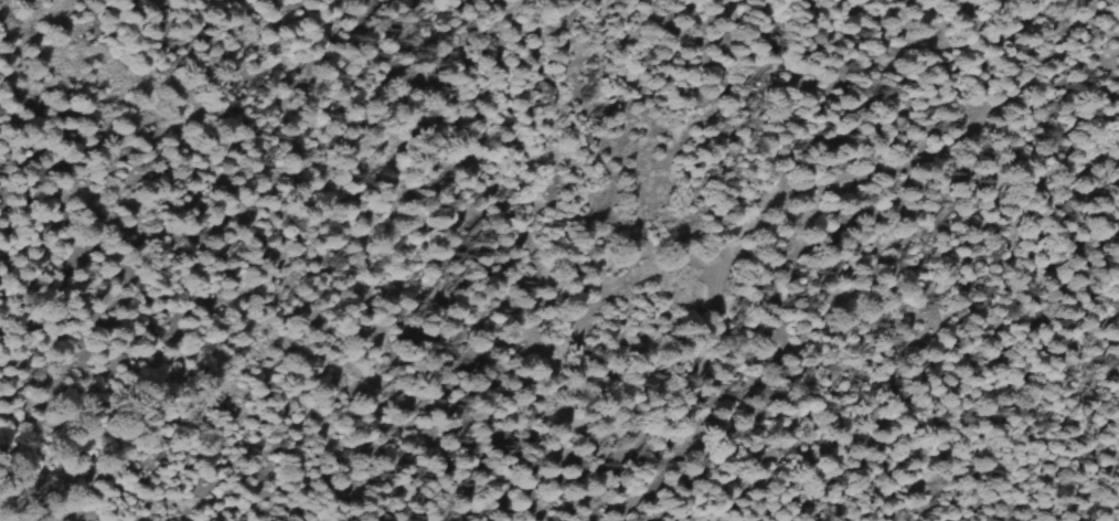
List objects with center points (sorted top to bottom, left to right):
road: (1011, 91)
road: (1020, 132)
road: (718, 297)

